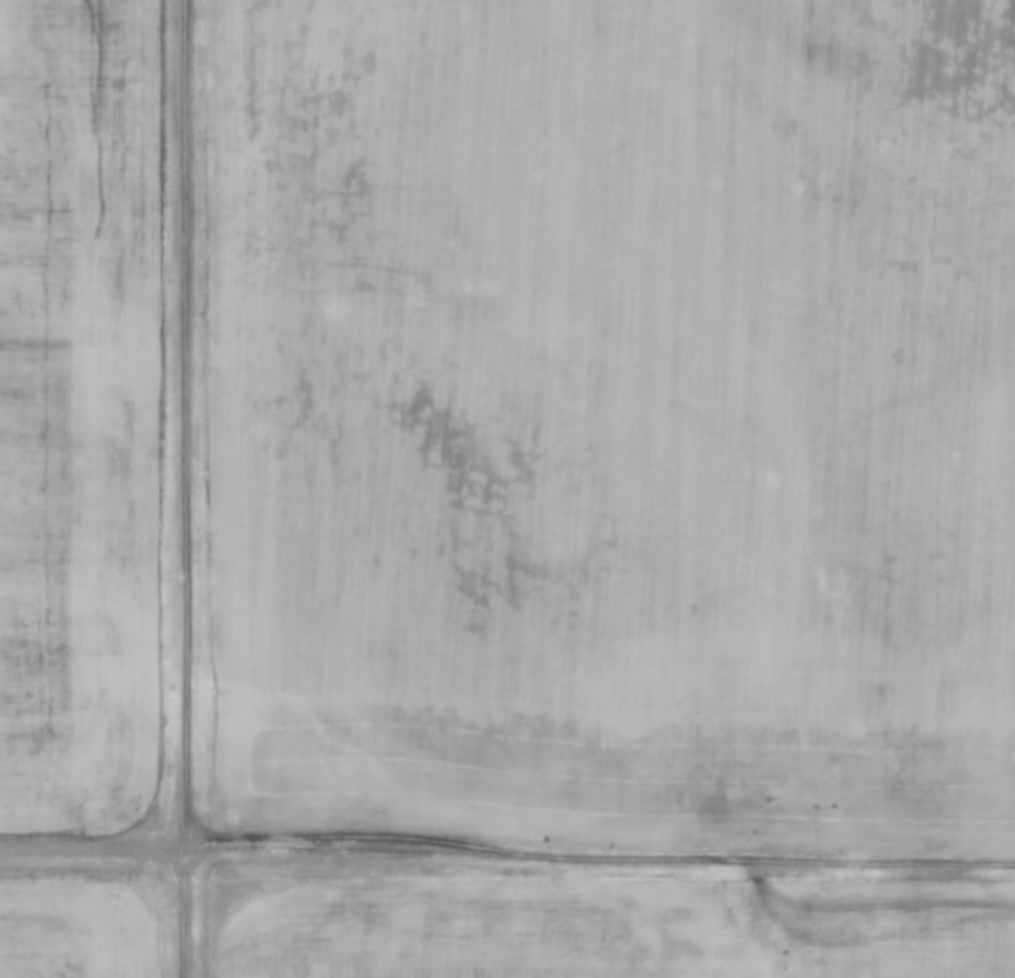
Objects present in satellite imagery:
road: (190, 489)
road: (507, 854)

